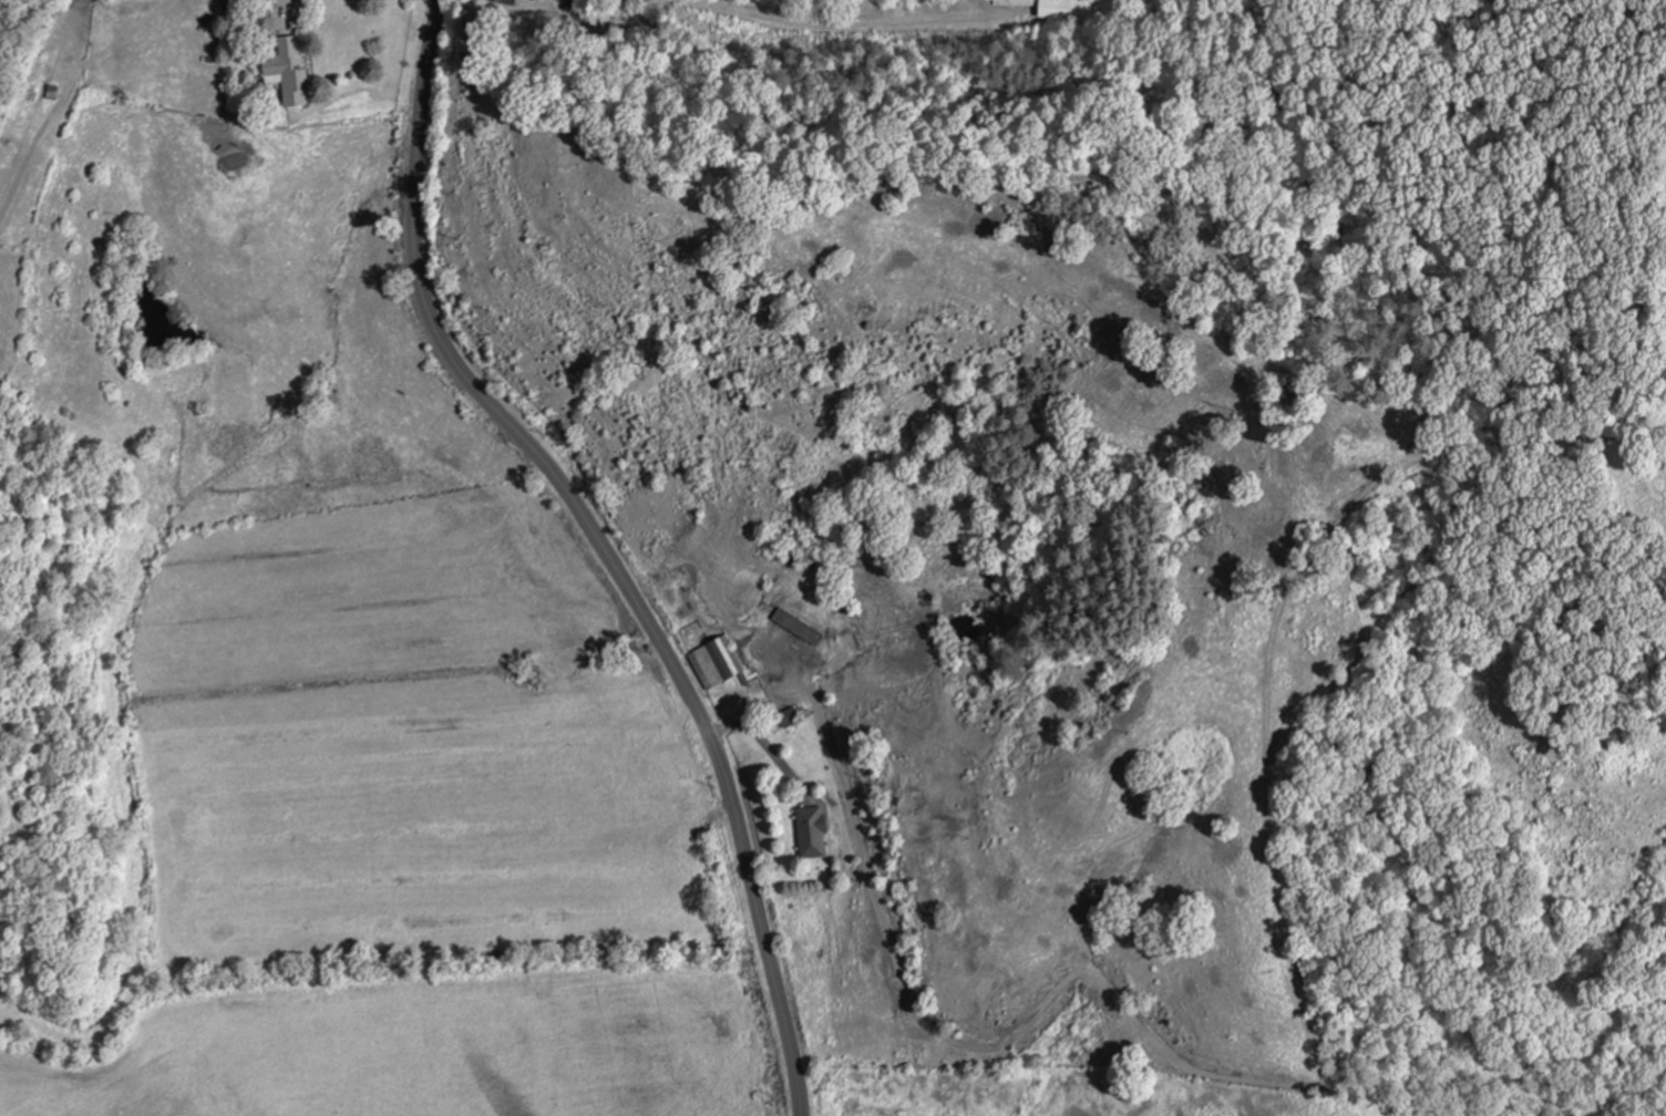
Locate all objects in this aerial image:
building: (546, 1)
building: (1055, 8)
building: (287, 68)
road: (601, 546)
building: (796, 627)
building: (714, 661)
building: (811, 831)

